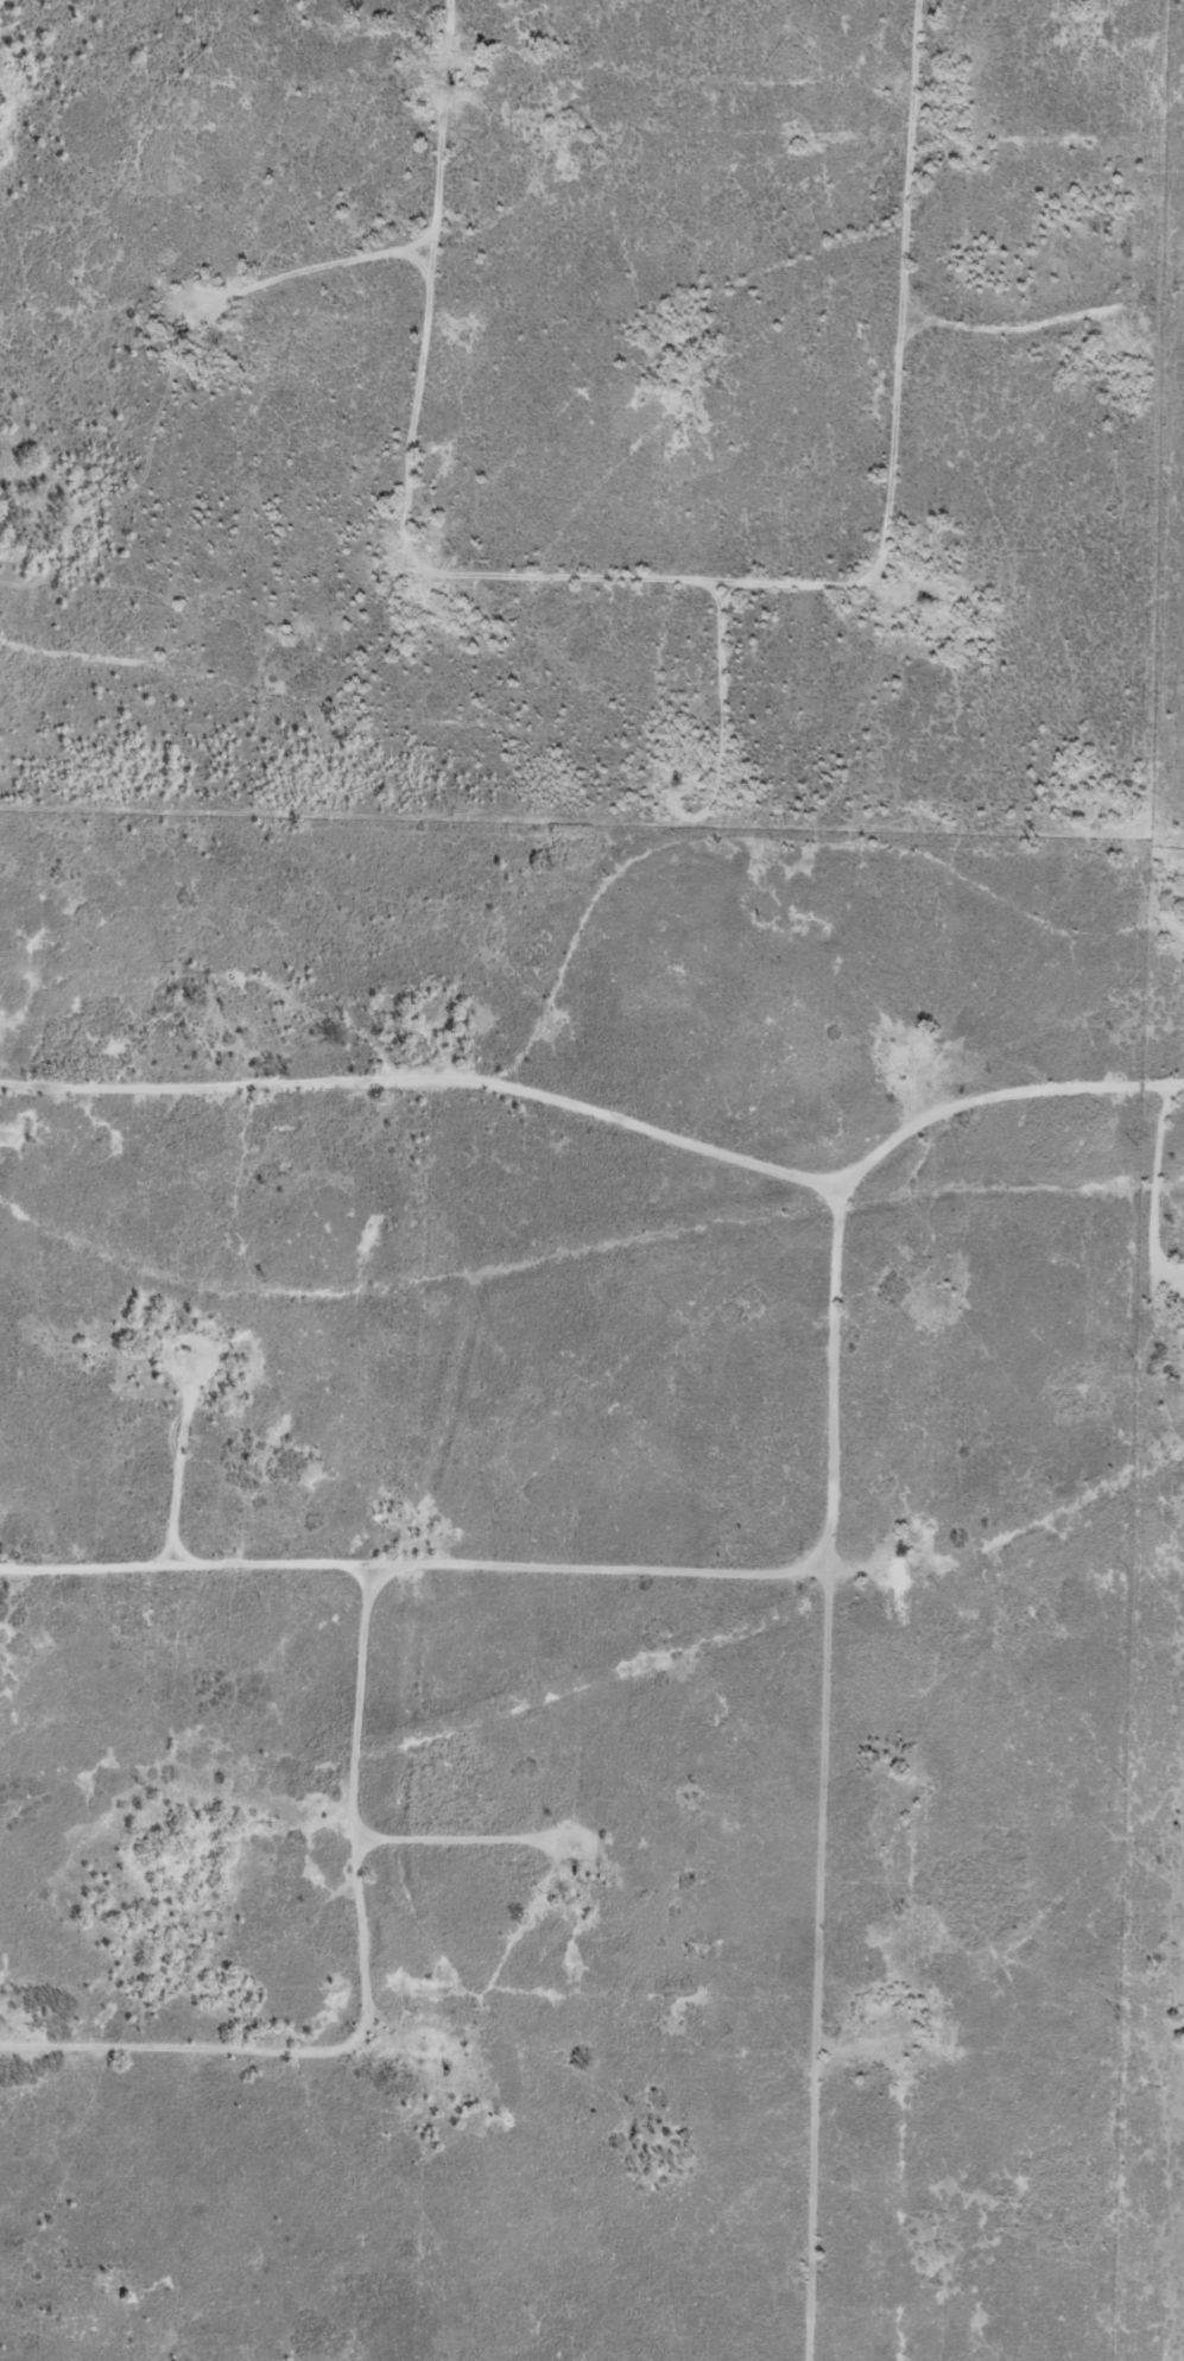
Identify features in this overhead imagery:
road: (251, 93)
road: (31, 277)
road: (489, 283)
road: (762, 607)
road: (1071, 671)
road: (803, 875)
road: (613, 1090)
road: (445, 1559)
road: (884, 1776)
road: (431, 2018)

